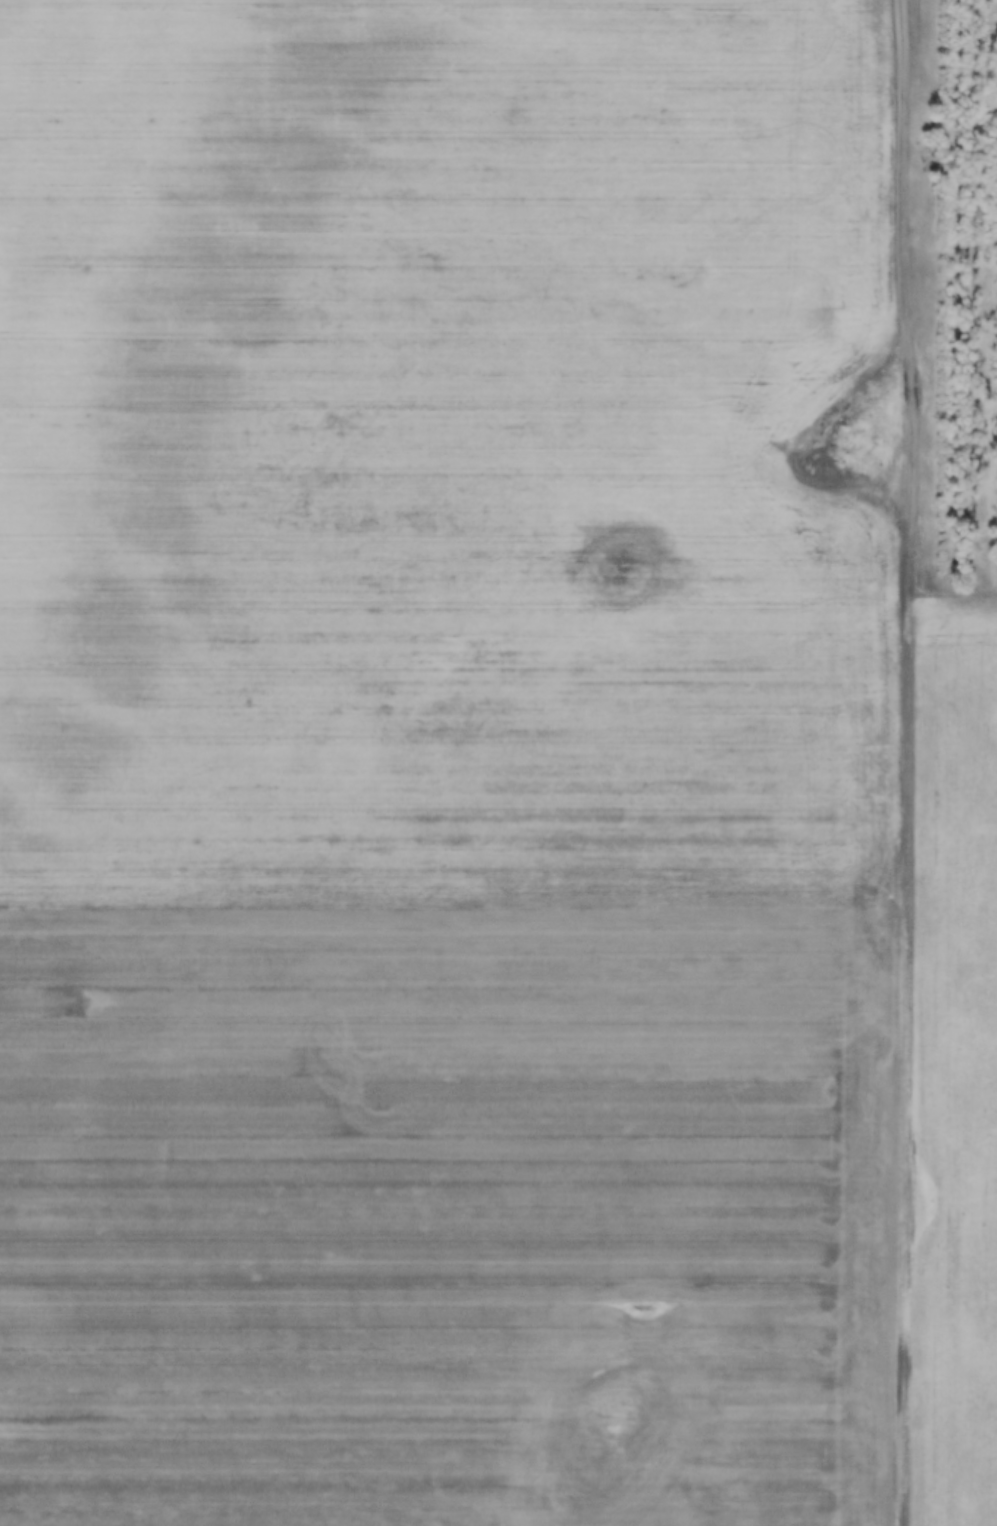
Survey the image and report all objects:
road: (911, 764)

